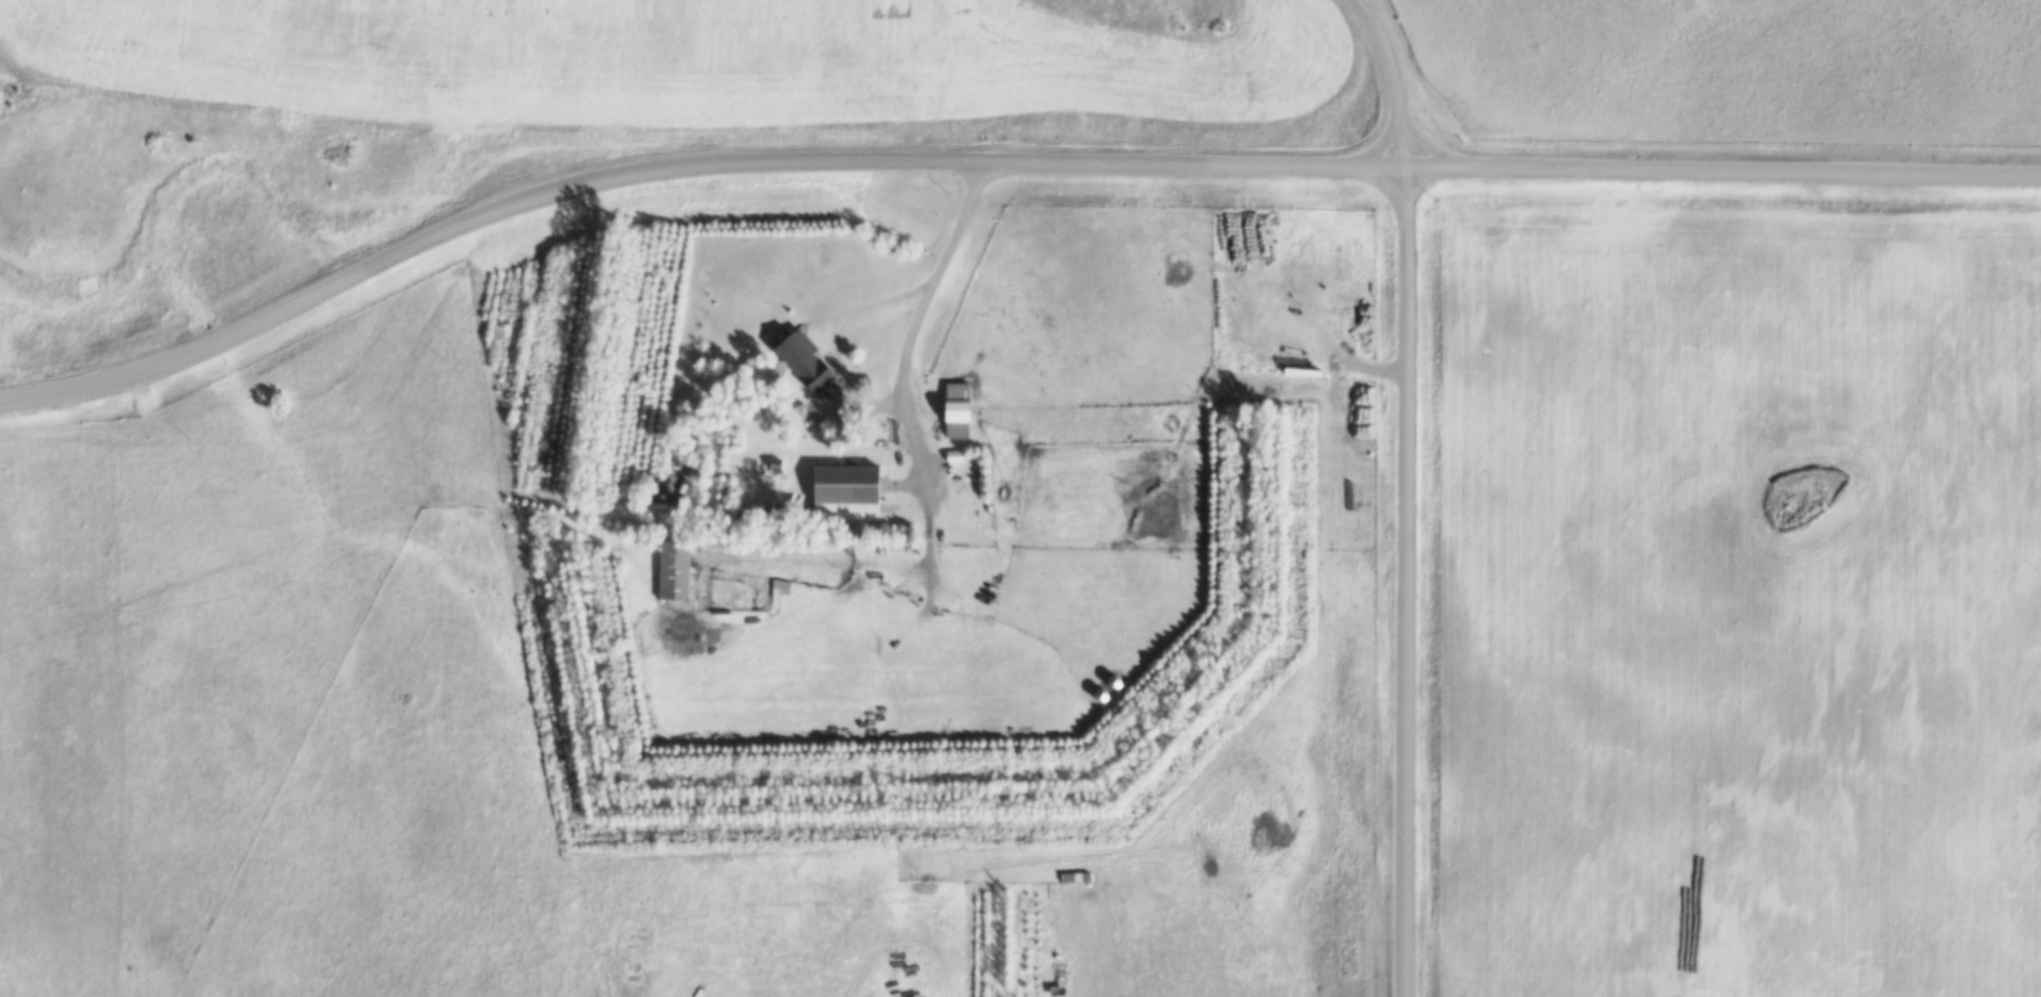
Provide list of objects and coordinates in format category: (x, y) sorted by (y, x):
road: (1393, 81)
road: (997, 168)
road: (921, 334)
building: (803, 358)
building: (956, 409)
building: (806, 412)
building: (774, 463)
building: (846, 490)
building: (770, 510)
building: (673, 568)
road: (1409, 583)

